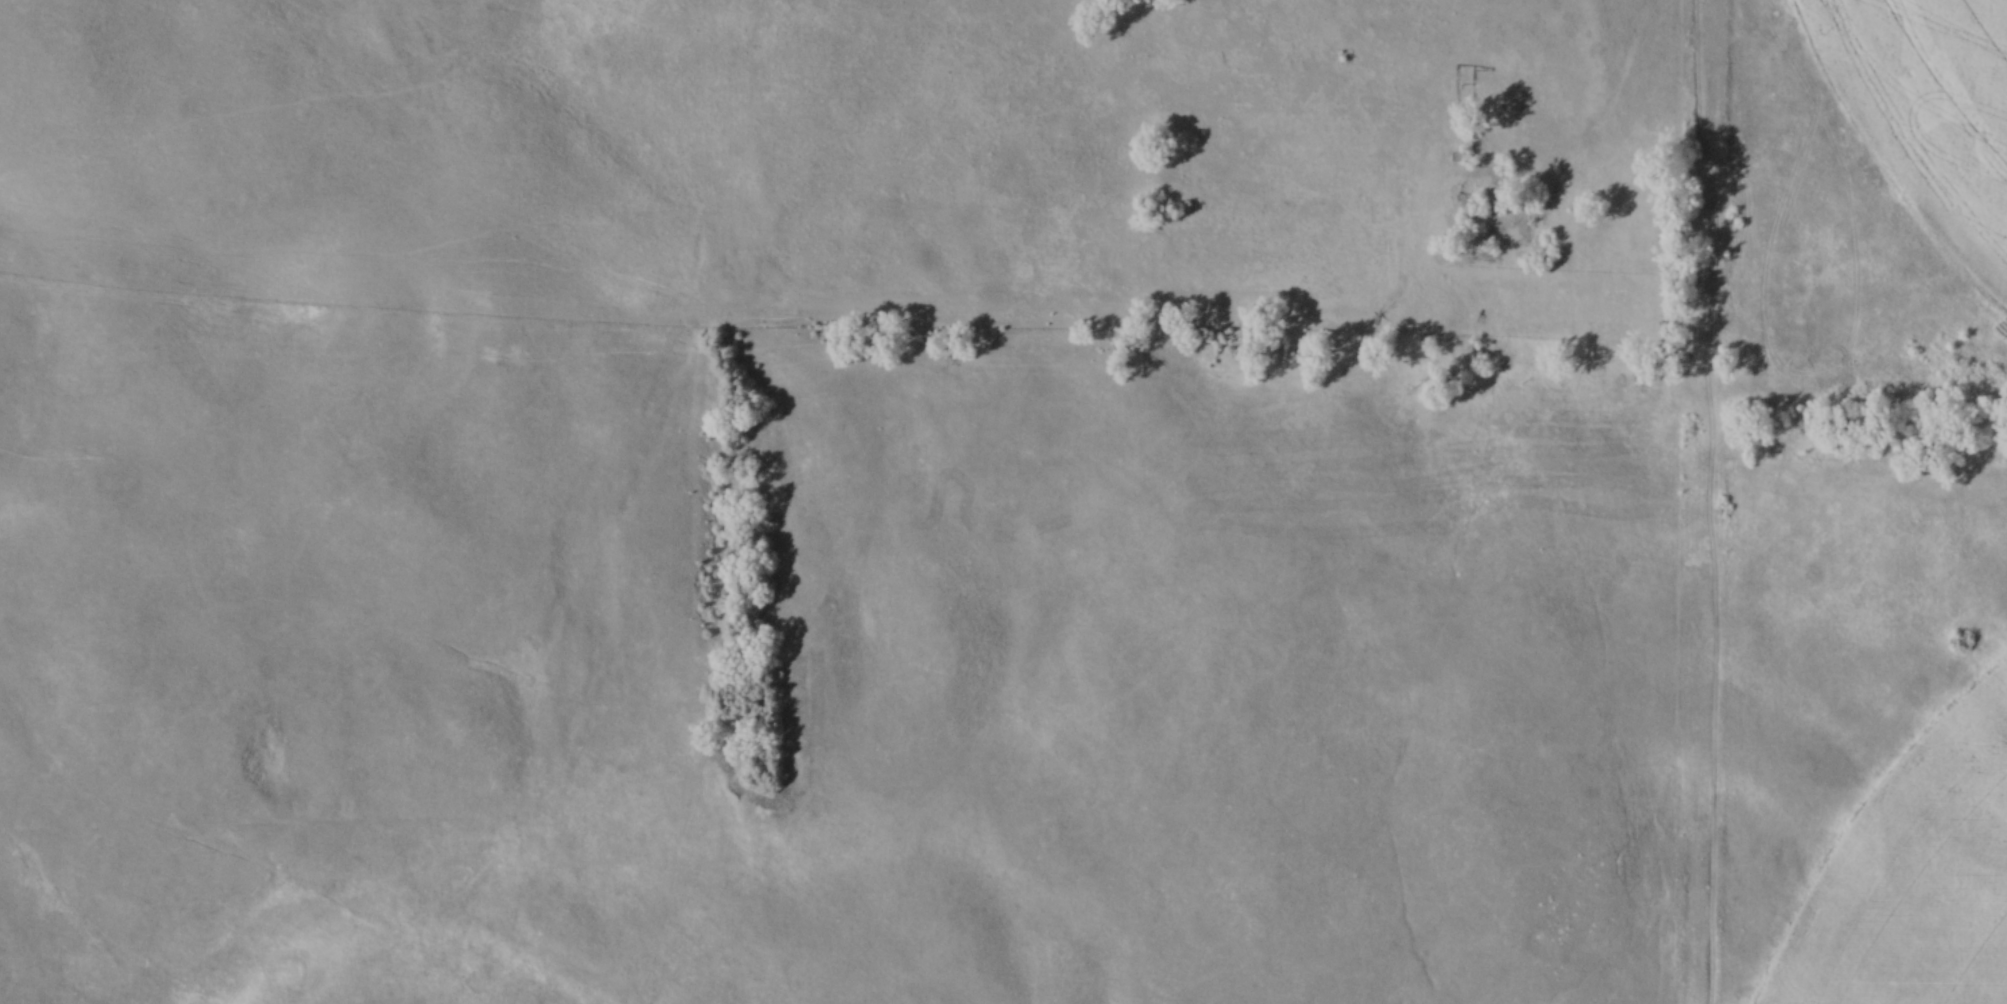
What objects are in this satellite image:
road: (1711, 502)

